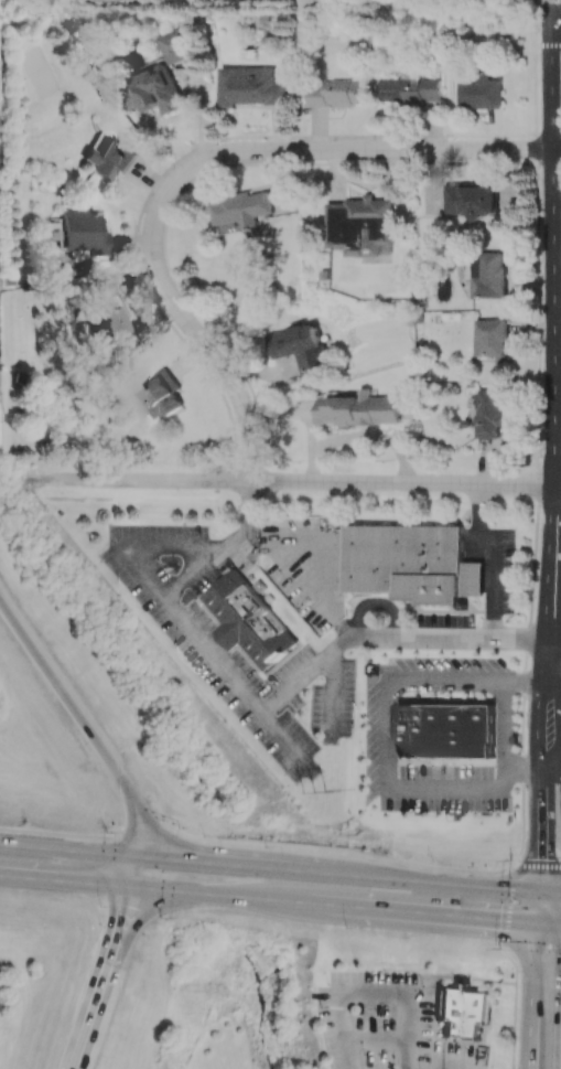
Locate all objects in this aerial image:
road: (550, 6)
road: (557, 6)
road: (557, 11)
road: (547, 43)
building: (176, 44)
power tower: (0, 67)
building: (250, 86)
building: (411, 87)
building: (157, 89)
building: (333, 92)
building: (482, 92)
building: (109, 160)
road: (196, 167)
building: (470, 200)
building: (241, 210)
building: (359, 227)
road: (555, 248)
building: (487, 274)
building: (106, 309)
building: (490, 339)
building: (299, 345)
building: (162, 394)
building: (358, 409)
building: (489, 413)
road: (537, 434)
road: (316, 485)
road: (560, 500)
road: (147, 542)
road: (493, 554)
building: (407, 562)
building: (249, 619)
parking lot: (450, 674)
road: (331, 692)
road: (66, 699)
road: (536, 704)
road: (258, 713)
road: (505, 724)
building: (446, 730)
road: (287, 744)
road: (379, 762)
parking lot: (425, 773)
power tower: (315, 790)
road: (58, 835)
road: (160, 836)
road: (157, 841)
road: (131, 844)
road: (99, 853)
traffic signals: (131, 856)
road: (354, 859)
road: (537, 867)
road: (367, 877)
traffic signals: (126, 888)
traffic signals: (536, 891)
road: (548, 892)
road: (266, 900)
traffic signals: (162, 904)
road: (509, 905)
traffic signals: (533, 923)
road: (547, 924)
road: (119, 928)
road: (505, 945)
road: (535, 945)
road: (114, 959)
road: (374, 996)
road: (530, 996)
road: (514, 1005)
building: (462, 1014)
parking lot: (386, 1024)
road: (378, 1041)
road: (452, 1058)

